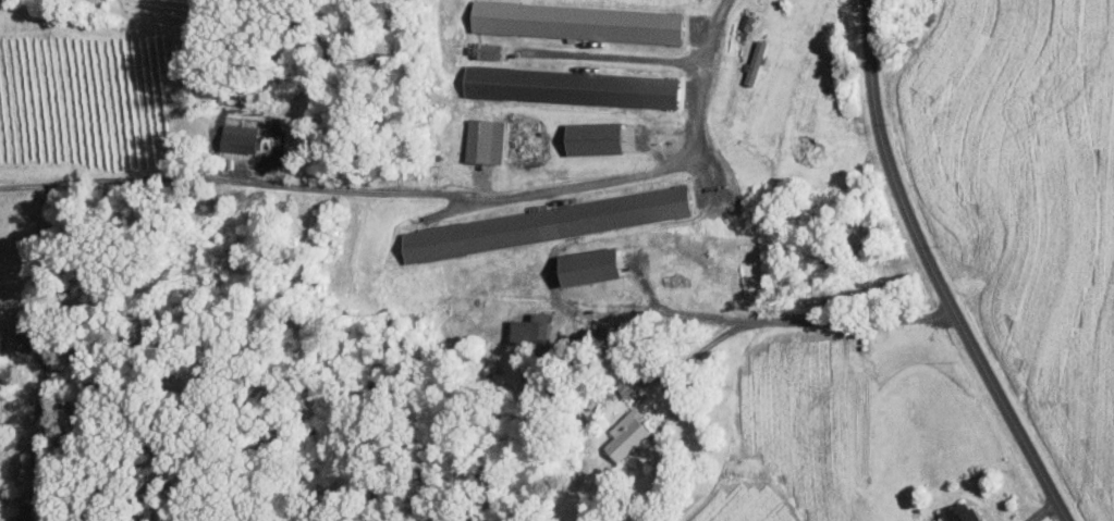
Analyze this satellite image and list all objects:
building: (578, 22)
building: (746, 22)
road: (607, 58)
building: (755, 62)
building: (572, 87)
building: (238, 138)
building: (595, 138)
building: (482, 140)
road: (421, 193)
building: (552, 223)
building: (591, 266)
road: (926, 271)
road: (798, 321)
building: (531, 331)
building: (17, 342)
building: (627, 435)
building: (963, 513)
road: (1037, 514)

